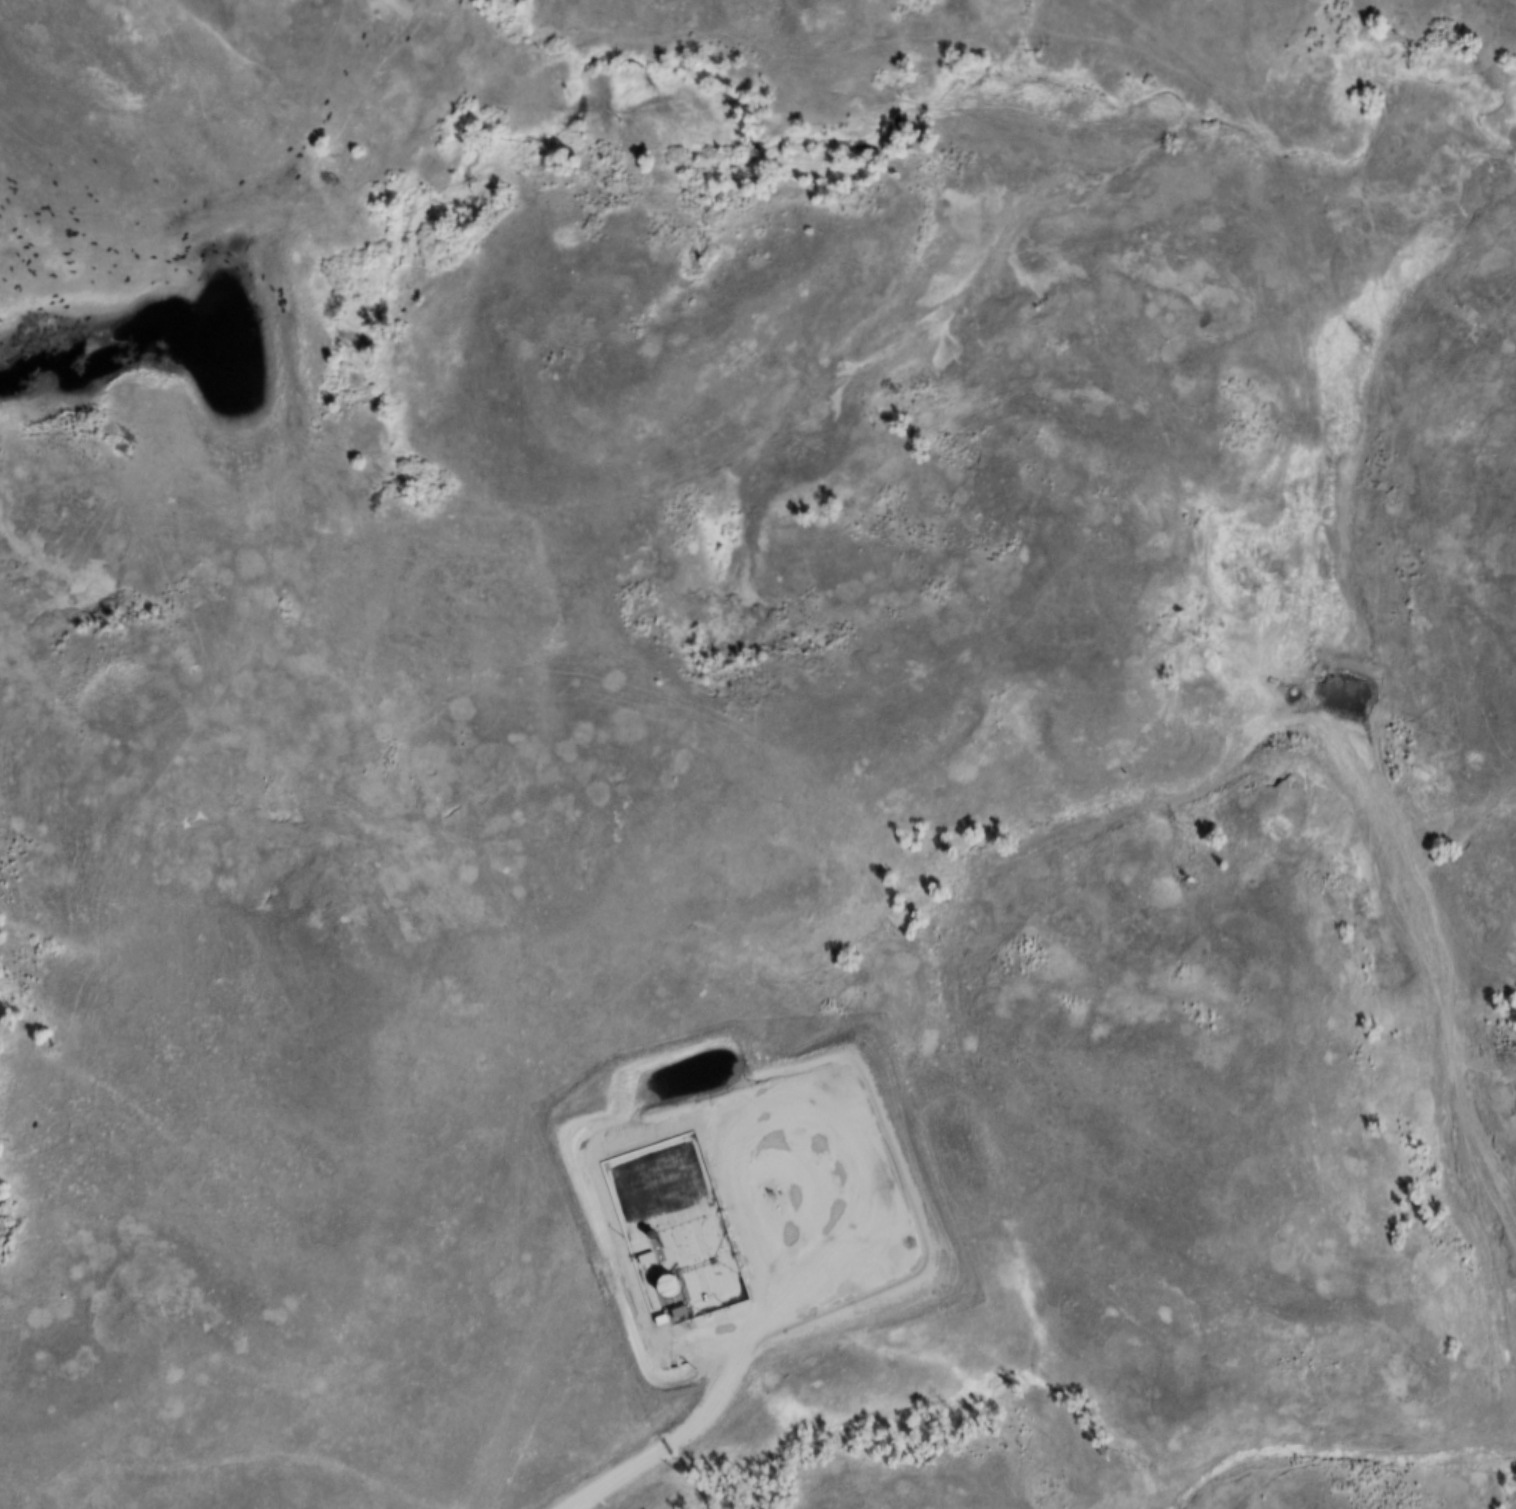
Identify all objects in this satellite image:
road: (799, 1103)
building: (676, 1310)
building: (657, 1318)
road: (686, 1426)

